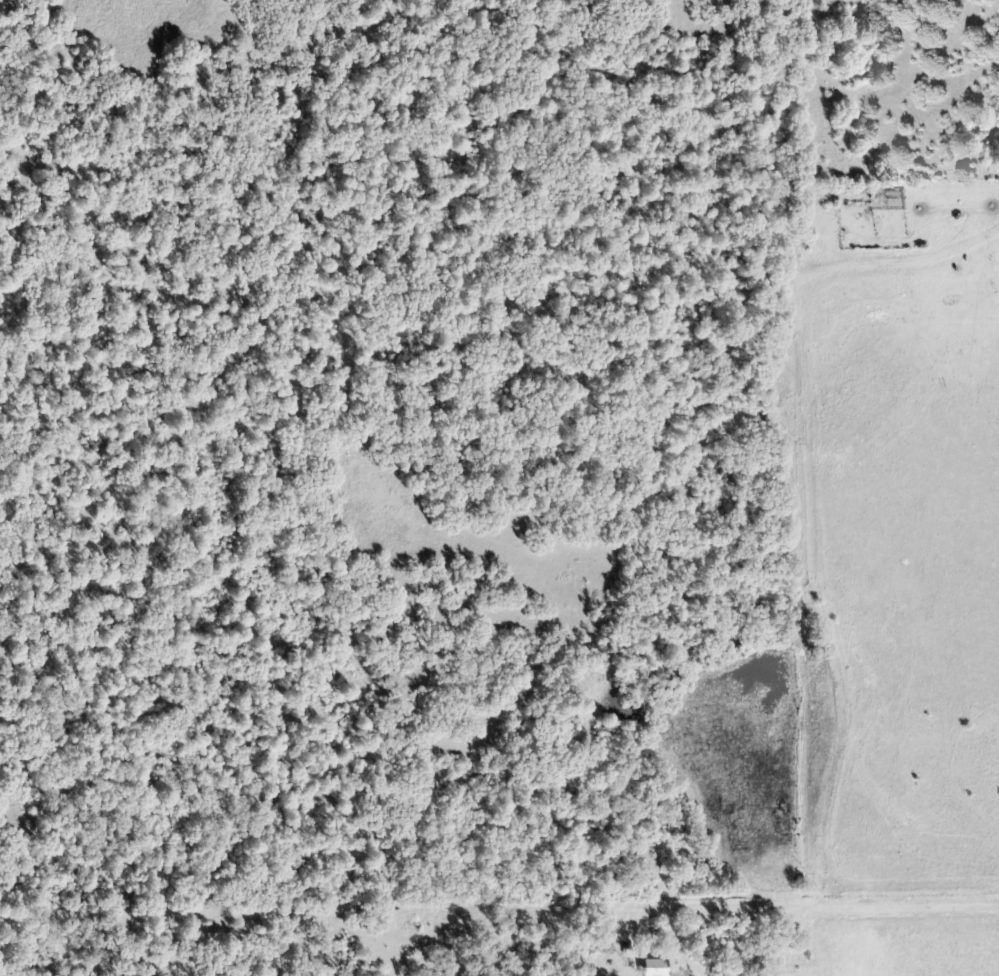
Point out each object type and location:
road: (906, 902)
building: (657, 967)

